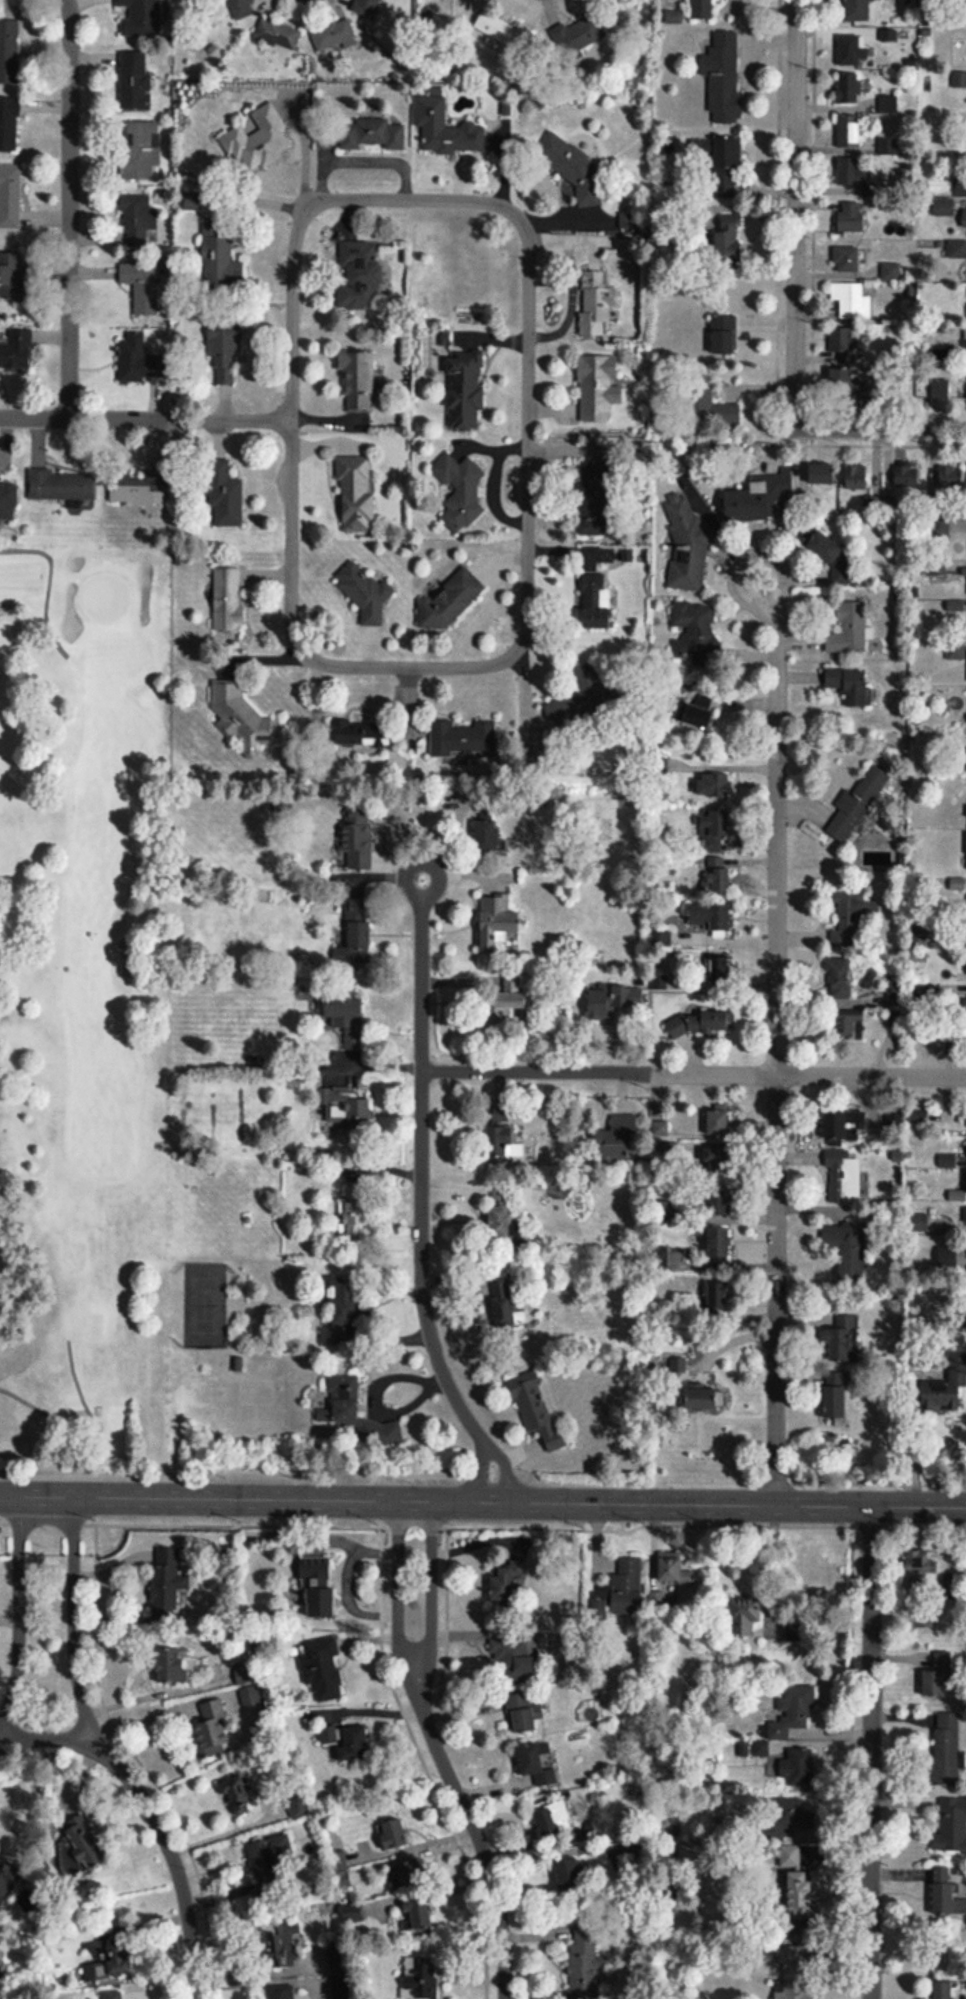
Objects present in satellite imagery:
building: (243, 8)
building: (366, 8)
building: (702, 10)
building: (859, 10)
building: (141, 17)
building: (502, 32)
building: (332, 34)
building: (278, 35)
building: (580, 36)
building: (852, 49)
building: (8, 52)
building: (723, 79)
building: (134, 81)
building: (848, 88)
building: (888, 105)
building: (9, 124)
building: (446, 129)
building: (850, 131)
building: (373, 135)
building: (257, 140)
building: (139, 149)
building: (564, 157)
building: (728, 166)
building: (852, 173)
building: (961, 187)
building: (10, 196)
road: (70, 210)
road: (795, 212)
building: (851, 218)
building: (964, 219)
building: (729, 236)
building: (139, 247)
building: (958, 250)
building: (847, 260)
building: (220, 261)
building: (358, 275)
building: (11, 276)
building: (852, 301)
building: (596, 304)
building: (724, 335)
building: (965, 340)
building: (842, 347)
building: (224, 348)
building: (17, 351)
building: (137, 362)
building: (355, 377)
building: (849, 385)
building: (599, 388)
building: (465, 390)
building: (944, 390)
building: (713, 413)
road: (145, 420)
road: (882, 429)
road: (291, 432)
road: (528, 434)
building: (822, 475)
building: (907, 477)
building: (950, 477)
building: (857, 478)
building: (58, 484)
building: (135, 486)
building: (459, 488)
building: (222, 492)
building: (353, 492)
building: (764, 499)
building: (6, 501)
building: (940, 527)
building: (686, 544)
building: (825, 547)
road: (48, 584)
building: (365, 591)
building: (225, 599)
building: (448, 600)
building: (595, 601)
building: (693, 621)
building: (849, 629)
building: (850, 684)
building: (240, 714)
building: (699, 716)
building: (357, 732)
building: (460, 738)
building: (714, 784)
building: (857, 804)
building: (717, 829)
building: (487, 832)
building: (354, 835)
building: (718, 875)
building: (851, 909)
building: (713, 917)
building: (497, 919)
building: (353, 934)
park: (85, 968)
building: (715, 968)
building: (840, 978)
building: (509, 998)
building: (607, 1001)
building: (344, 1016)
building: (699, 1021)
building: (847, 1022)
road: (776, 1025)
road: (694, 1073)
building: (346, 1111)
building: (919, 1116)
building: (895, 1120)
building: (718, 1121)
building: (847, 1125)
building: (618, 1131)
building: (503, 1141)
road: (421, 1146)
building: (843, 1177)
building: (960, 1197)
building: (720, 1200)
building: (351, 1213)
building: (965, 1216)
building: (500, 1217)
building: (920, 1222)
building: (719, 1244)
building: (717, 1297)
park: (203, 1303)
building: (338, 1309)
building: (506, 1311)
building: (842, 1339)
building: (945, 1386)
building: (704, 1396)
building: (835, 1405)
building: (537, 1407)
building: (354, 1413)
road: (85, 1431)
road: (504, 1473)
road: (480, 1474)
road: (36, 1495)
road: (520, 1502)
building: (920, 1568)
building: (674, 1569)
building: (167, 1583)
building: (318, 1587)
building: (507, 1587)
building: (621, 1589)
road: (431, 1592)
road: (398, 1593)
road: (19, 1612)
road: (9, 1613)
building: (746, 1618)
road: (74, 1620)
building: (513, 1657)
building: (171, 1665)
building: (322, 1669)
building: (939, 1676)
building: (525, 1709)
building: (786, 1718)
building: (211, 1724)
building: (346, 1741)
road: (47, 1742)
road: (871, 1753)
building: (946, 1753)
building: (536, 1763)
building: (797, 1766)
building: (240, 1796)
building: (68, 1804)
building: (554, 1819)
building: (951, 1826)
road: (225, 1832)
building: (393, 1834)
road: (476, 1836)
building: (81, 1851)
road: (173, 1859)
building: (272, 1861)
building: (344, 1873)
building: (410, 1874)
building: (570, 1877)
building: (6, 1880)
building: (947, 1893)
building: (417, 1913)
building: (352, 1914)
building: (288, 1945)
building: (583, 1960)
building: (109, 1966)
building: (794, 1973)
building: (422, 1978)
building: (946, 1990)
building: (285, 1994)
building: (119, 1996)

